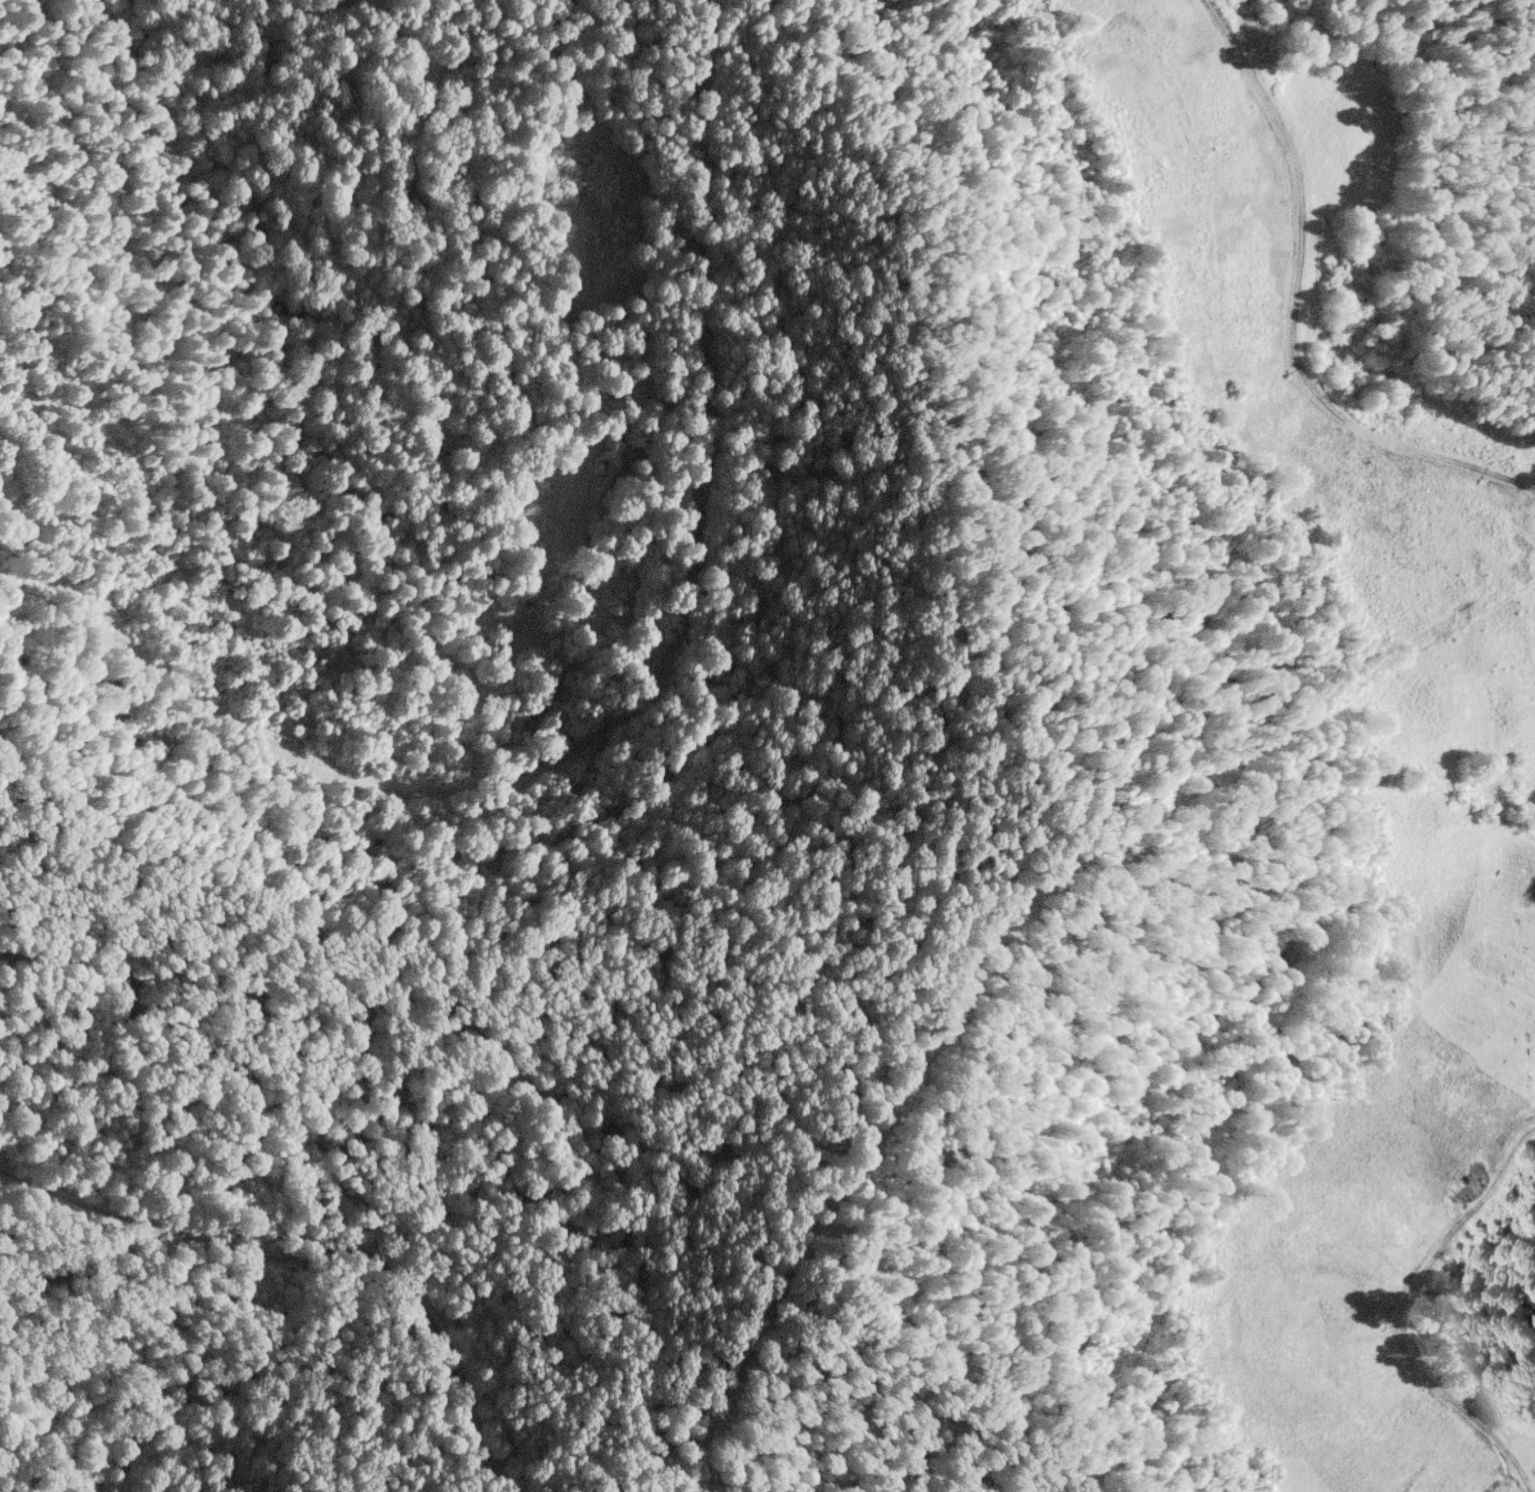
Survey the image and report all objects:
road: (612, 56)
road: (1294, 306)
road: (277, 720)
road: (312, 1258)
road: (1396, 1310)

